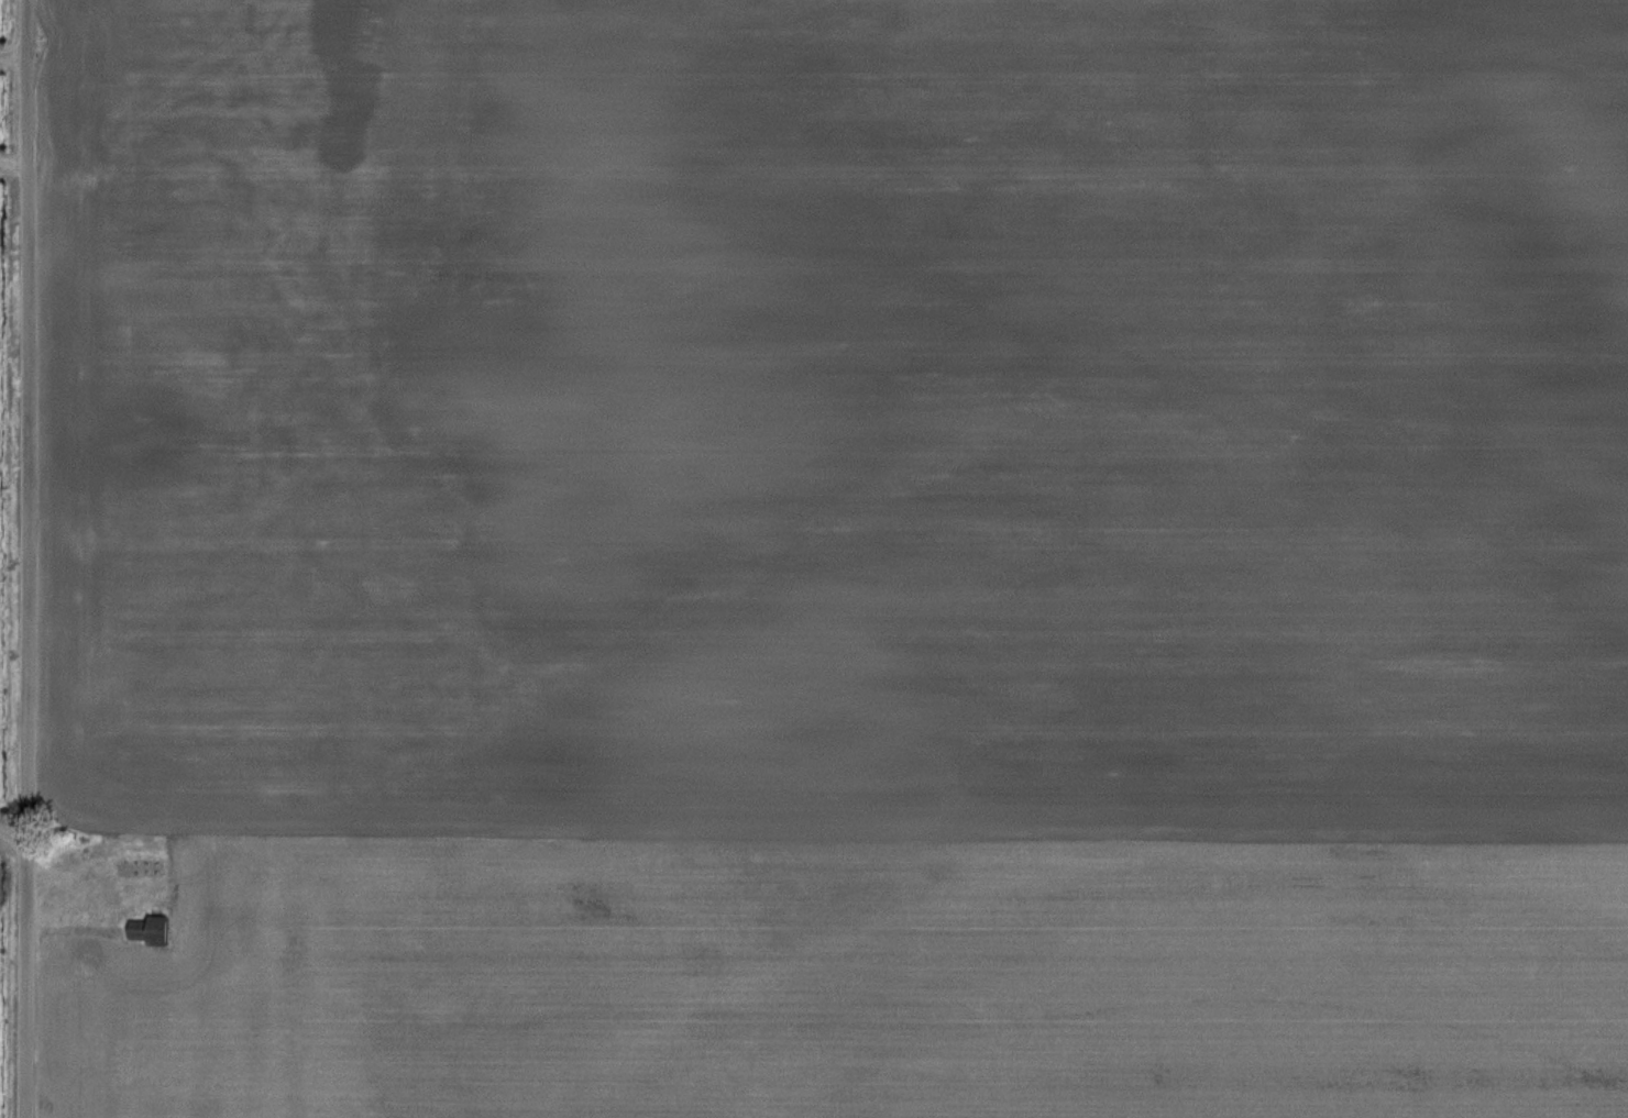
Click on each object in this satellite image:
road: (25, 558)
building: (154, 930)

